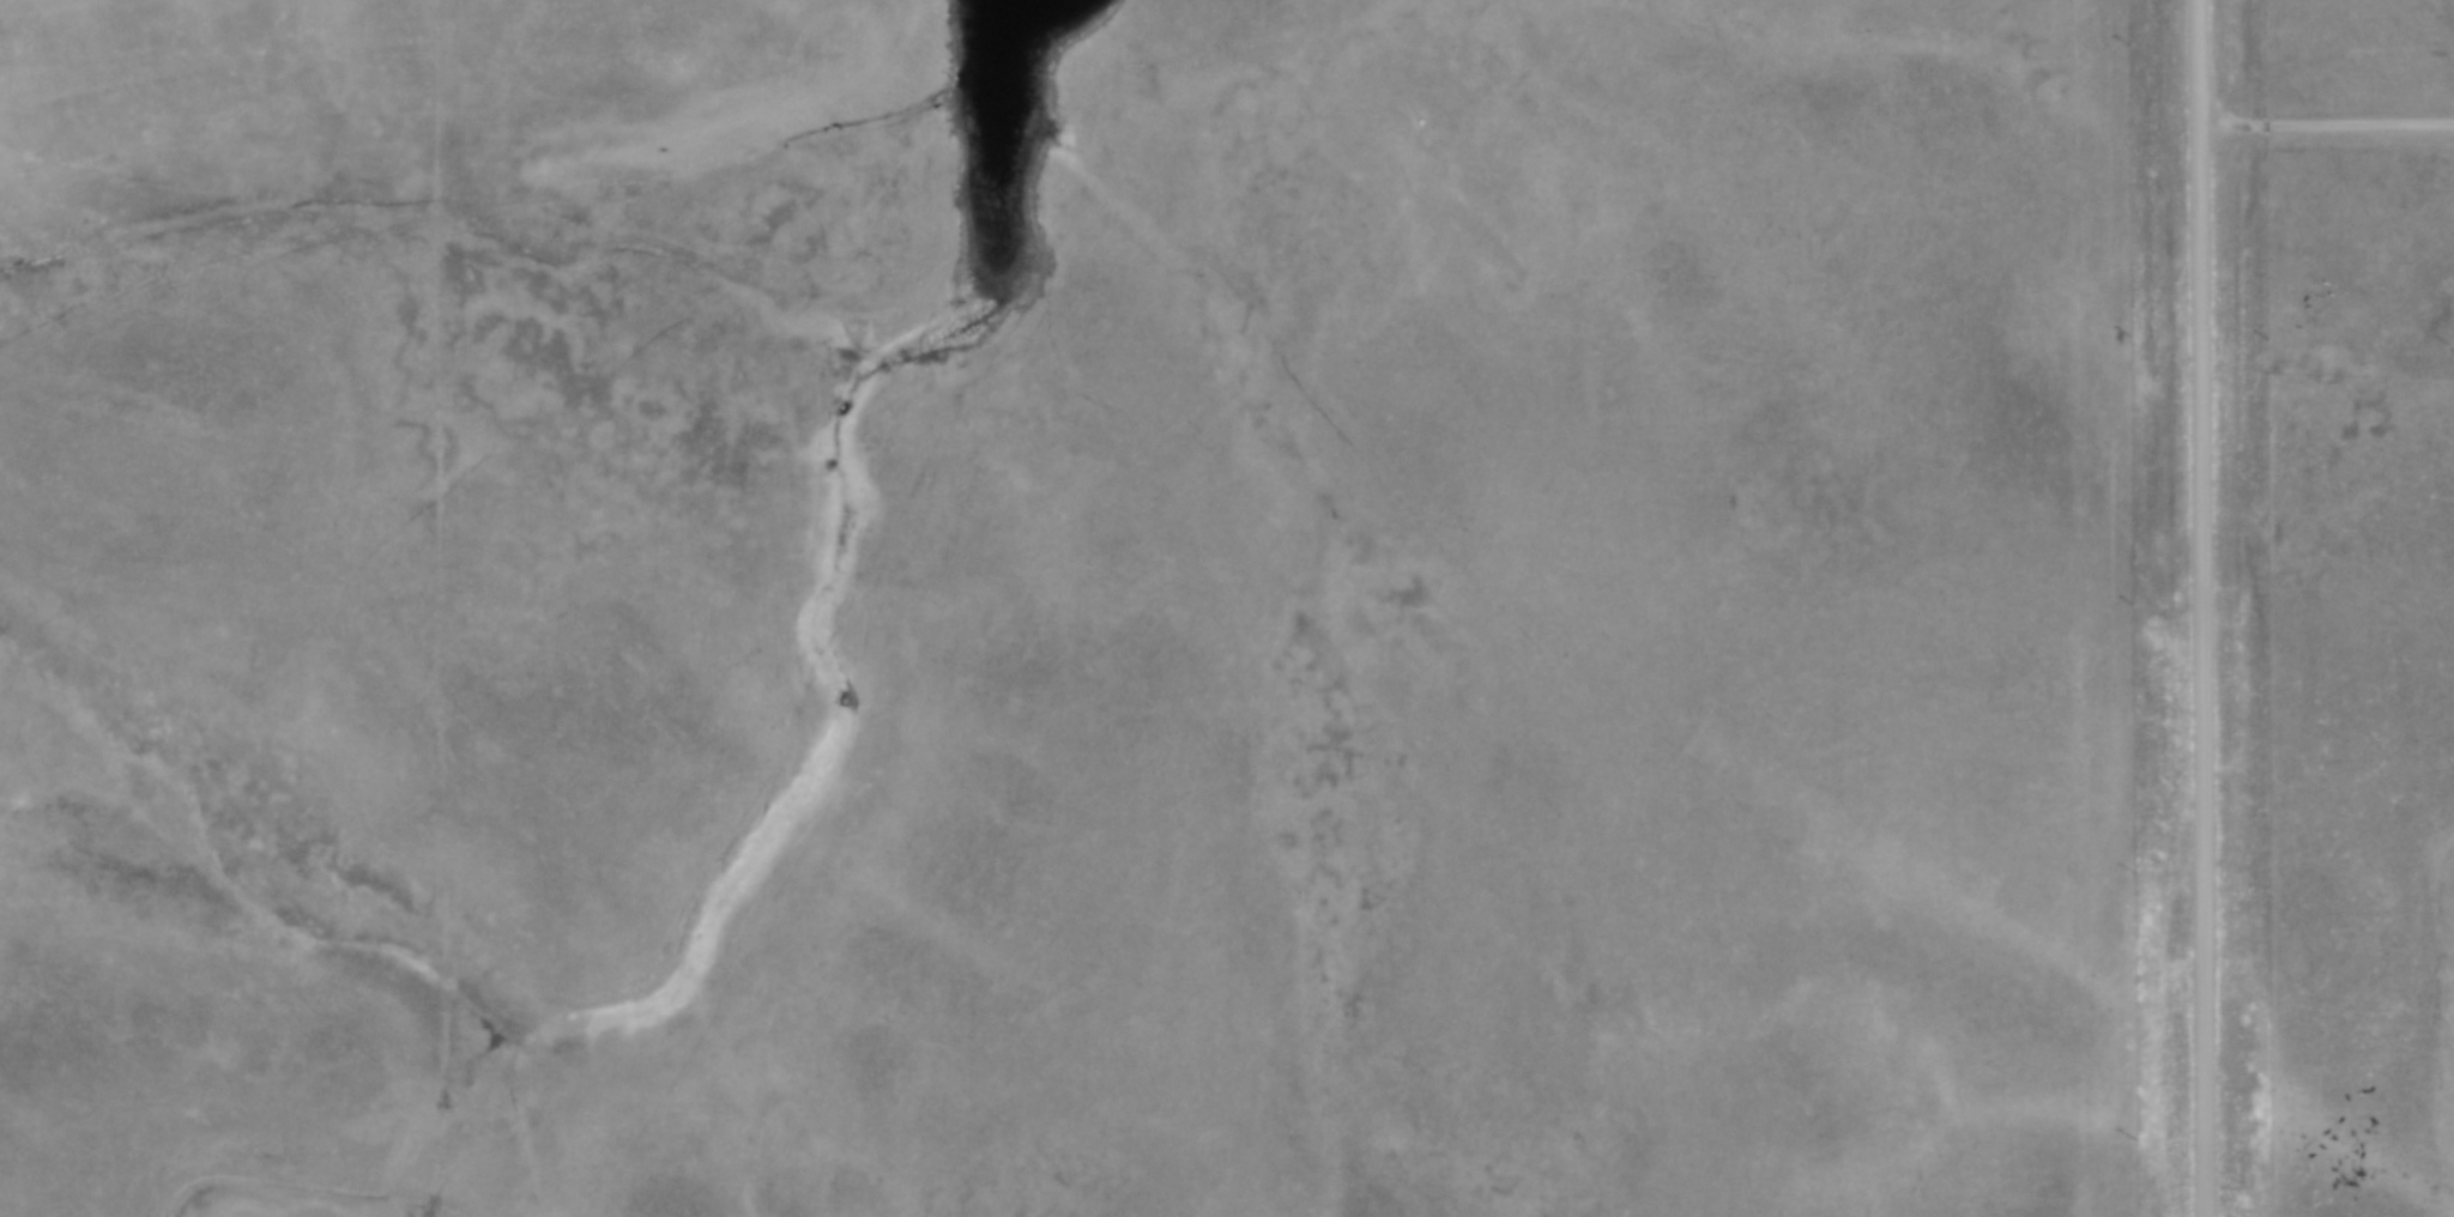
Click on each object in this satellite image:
road: (2326, 126)
road: (2204, 608)
quarry: (2440, 859)

